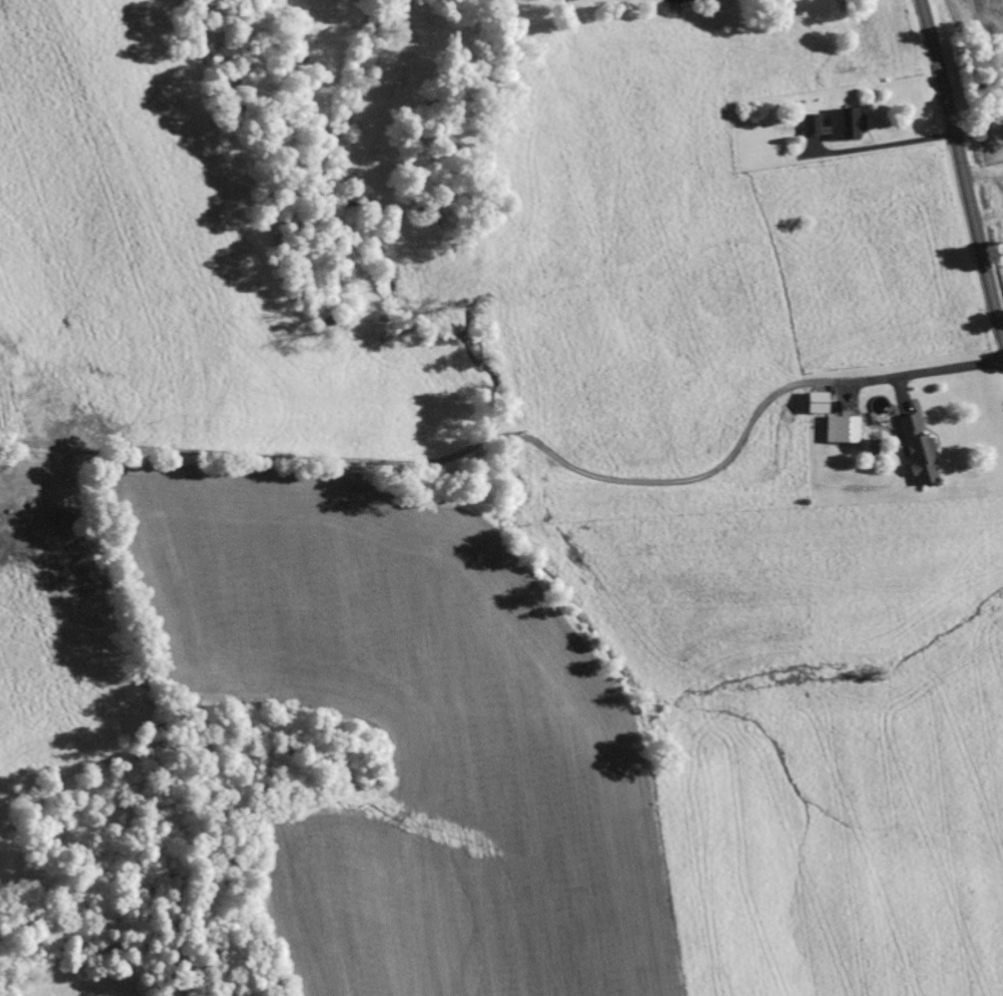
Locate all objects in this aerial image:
building: (831, 126)
road: (961, 167)
building: (838, 431)
building: (915, 453)

